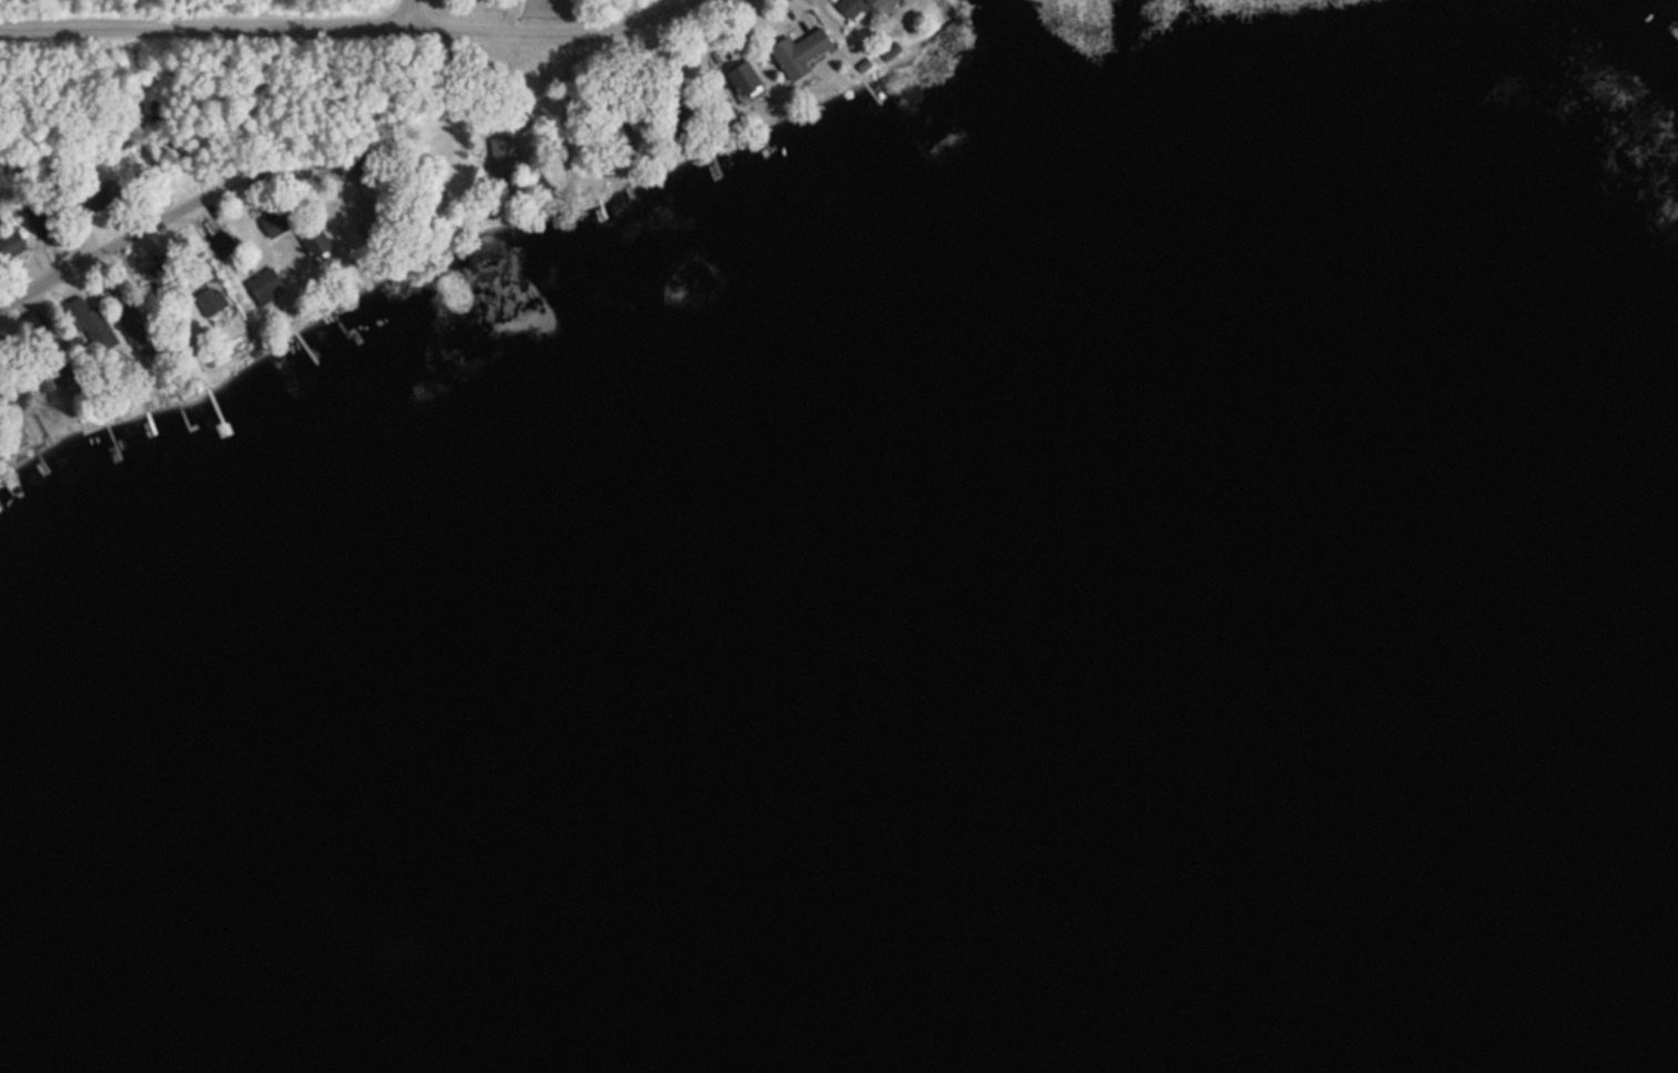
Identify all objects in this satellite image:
building: (855, 7)
road: (413, 12)
road: (346, 26)
building: (797, 52)
building: (740, 78)
building: (502, 152)
building: (92, 201)
building: (364, 212)
building: (273, 223)
road: (151, 224)
building: (40, 226)
building: (312, 239)
building: (9, 244)
building: (160, 273)
building: (263, 285)
building: (90, 324)
building: (134, 330)

